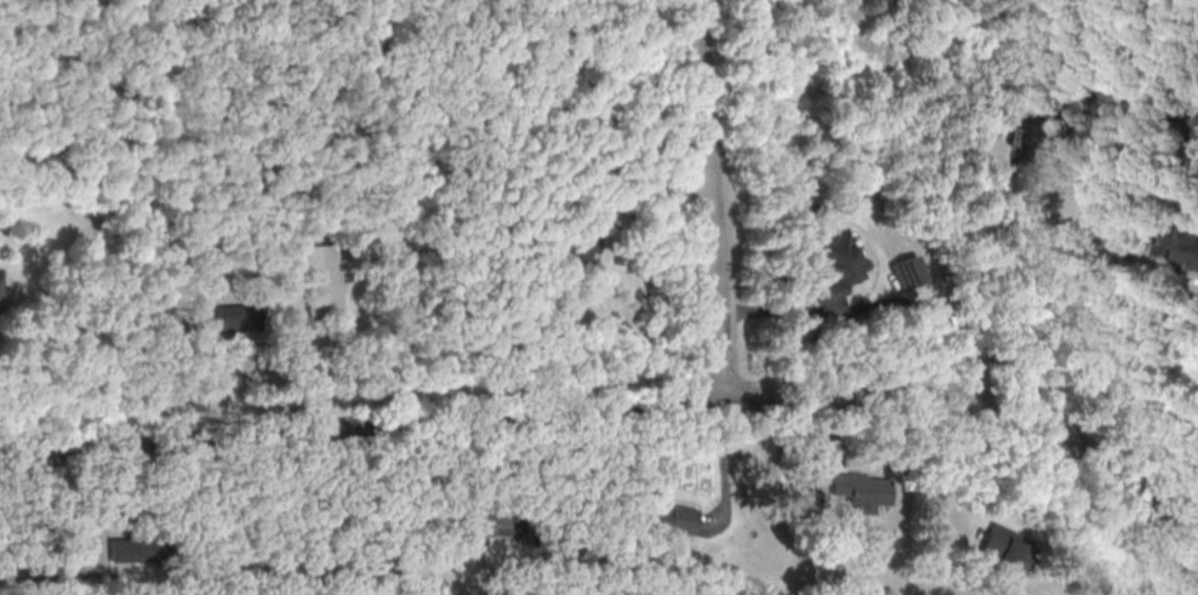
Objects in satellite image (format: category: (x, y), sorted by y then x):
road: (1137, 101)
building: (1032, 145)
road: (714, 198)
building: (1187, 245)
building: (577, 246)
building: (831, 264)
building: (906, 269)
building: (312, 281)
building: (224, 316)
road: (985, 395)
road: (360, 428)
road: (724, 463)
building: (861, 491)
road: (575, 497)
building: (662, 517)
building: (1000, 547)
building: (129, 549)

